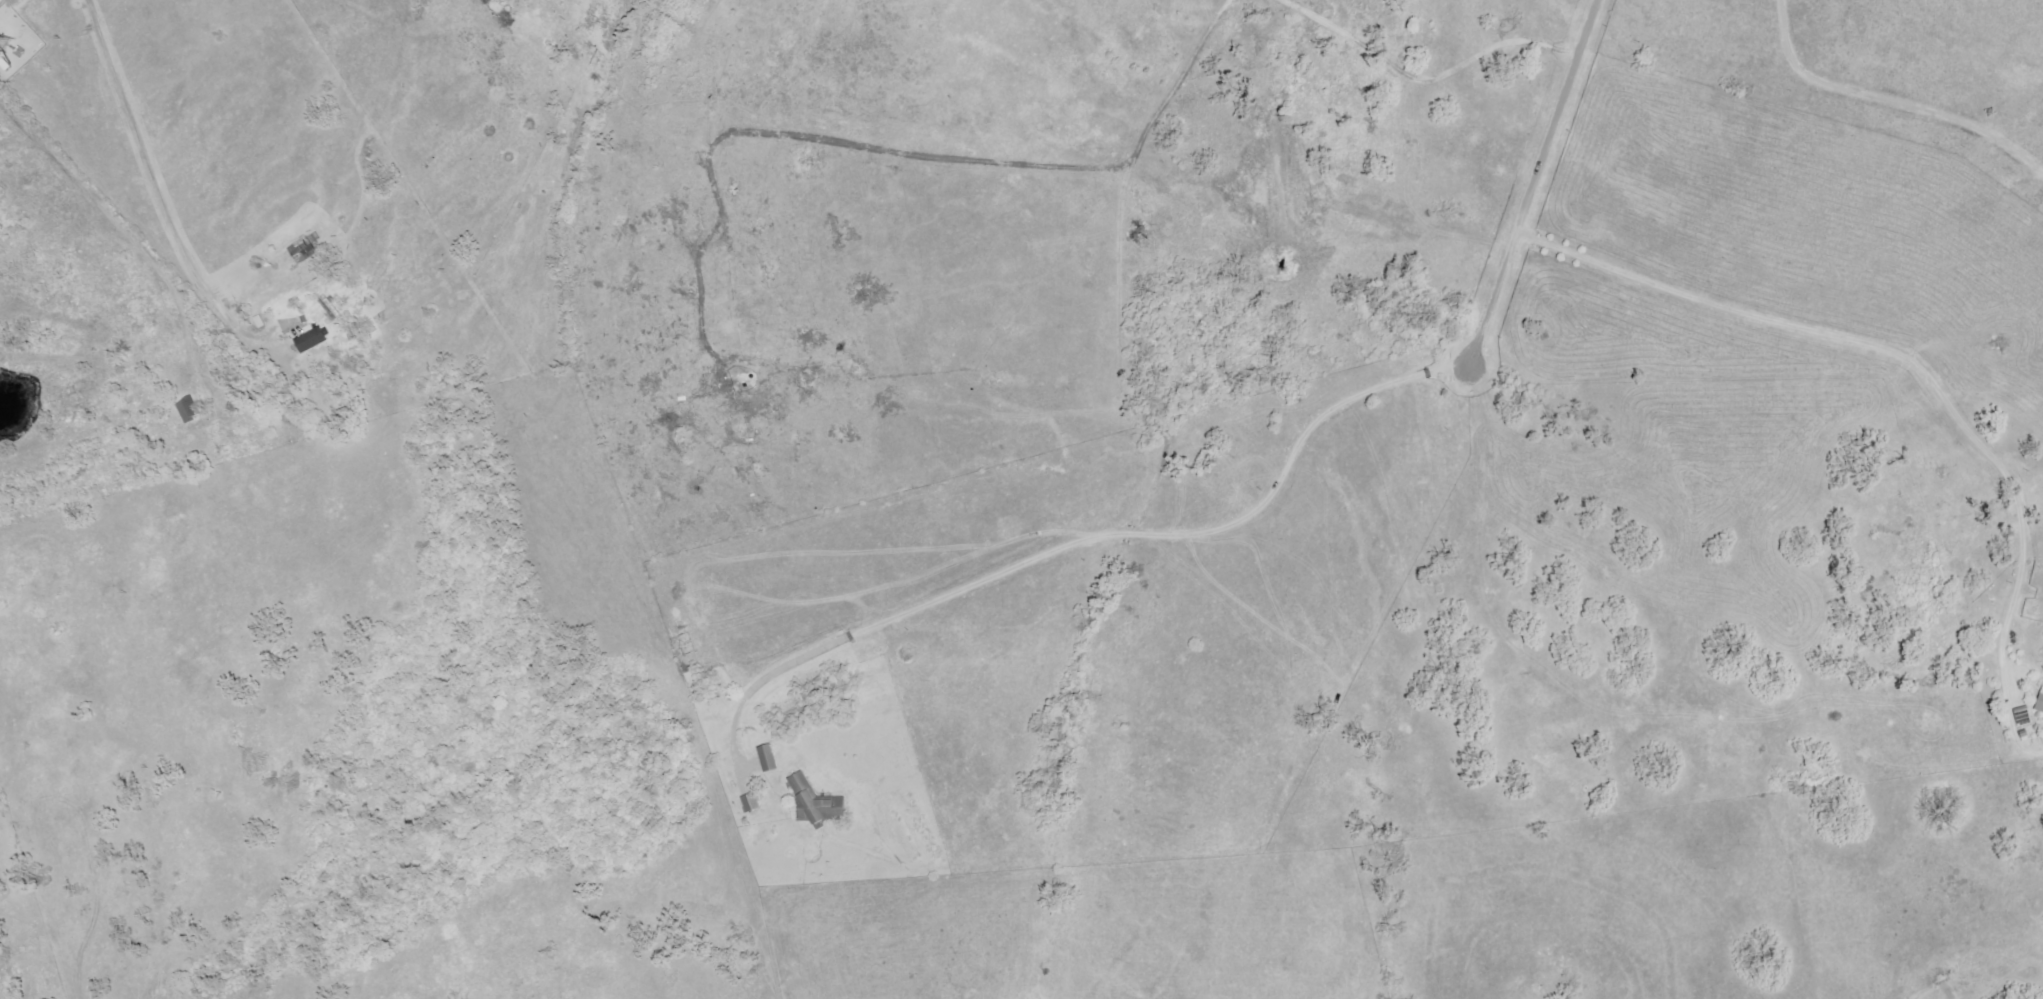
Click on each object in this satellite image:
building: (487, 1)
road: (1559, 117)
road: (162, 198)
road: (128, 230)
building: (304, 249)
building: (329, 309)
building: (307, 337)
road: (1912, 358)
building: (188, 410)
road: (1170, 536)
building: (2040, 704)
building: (767, 758)
building: (815, 802)
building: (750, 803)

